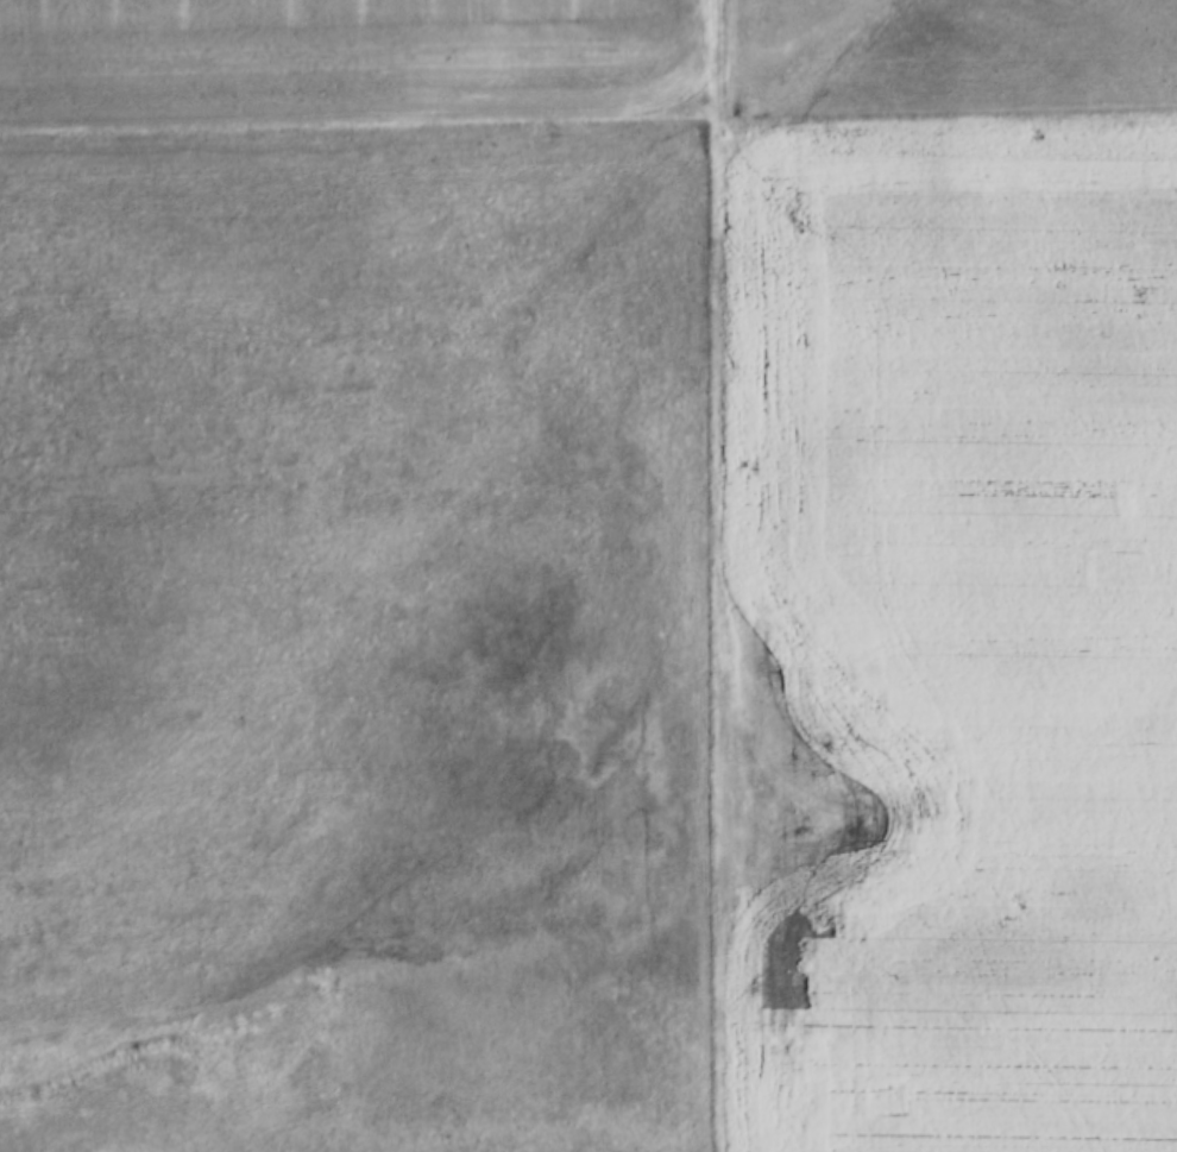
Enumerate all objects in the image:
road: (724, 575)

